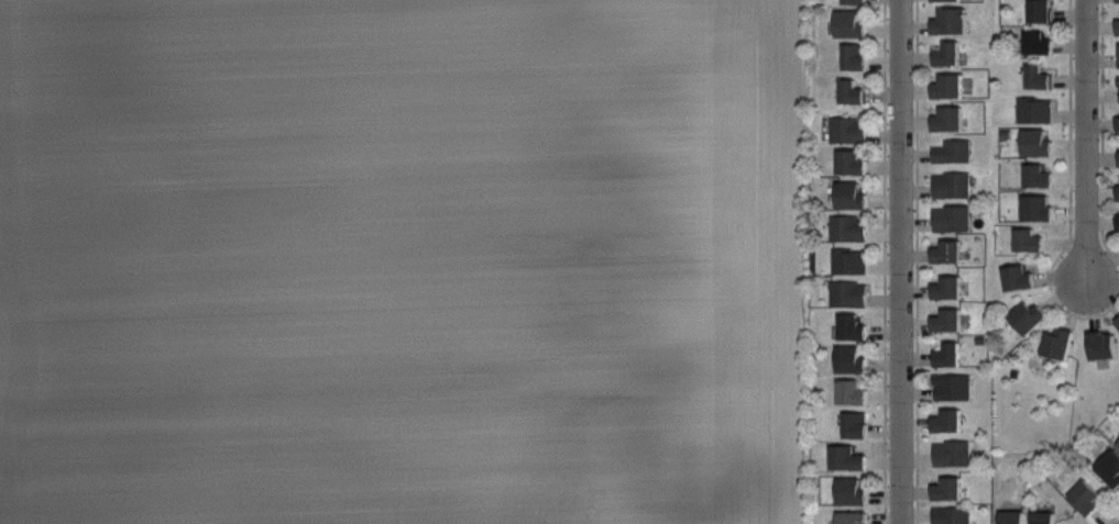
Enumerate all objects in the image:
building: (950, 0)
building: (1115, 0)
building: (858, 2)
building: (1043, 12)
building: (953, 21)
building: (854, 24)
building: (1115, 24)
building: (1041, 42)
building: (1116, 53)
building: (950, 54)
building: (857, 57)
building: (1040, 76)
building: (951, 87)
building: (1116, 87)
building: (855, 92)
building: (1036, 111)
building: (951, 120)
building: (1115, 122)
building: (849, 129)
road: (1102, 133)
road: (1085, 138)
building: (1039, 143)
building: (954, 150)
building: (1116, 156)
building: (854, 161)
building: (1040, 176)
building: (952, 187)
road: (1069, 190)
building: (1115, 190)
building: (853, 197)
building: (1039, 208)
building: (954, 216)
building: (1115, 221)
building: (852, 227)
building: (1030, 238)
building: (950, 252)
crop: (403, 261)
building: (852, 261)
road: (885, 261)
road: (899, 261)
road: (917, 261)
building: (1020, 278)
building: (950, 288)
building: (852, 293)
building: (1032, 315)
building: (1118, 320)
building: (951, 321)
building: (854, 326)
building: (1061, 343)
building: (1102, 344)
building: (950, 355)
building: (854, 359)
building: (954, 387)
building: (855, 392)
building: (951, 421)
building: (858, 425)
building: (1116, 443)
building: (954, 455)
building: (851, 458)
building: (1111, 467)
building: (950, 488)
building: (855, 492)
building: (1089, 498)
building: (951, 514)
building: (854, 516)
building: (1014, 516)
road: (1111, 516)
building: (1046, 517)

